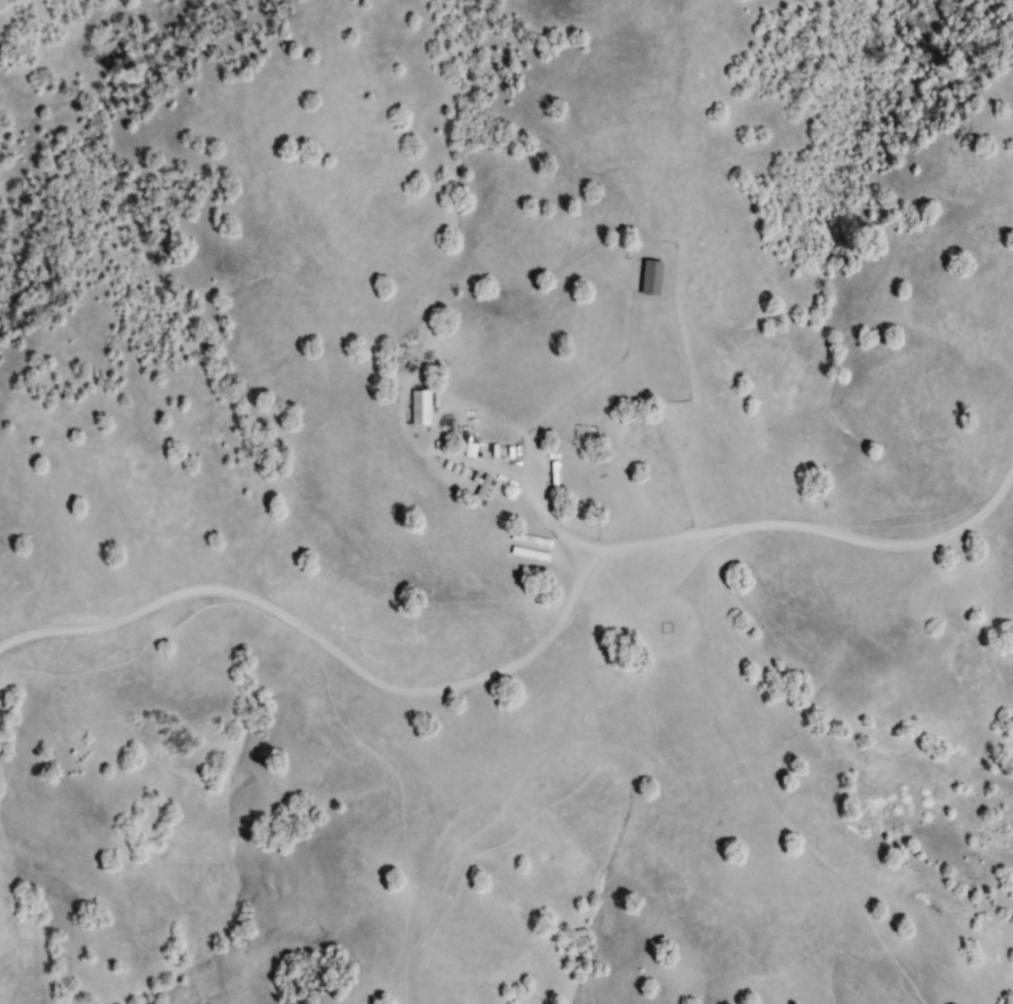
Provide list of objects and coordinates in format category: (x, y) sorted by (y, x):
building: (653, 276)
building: (421, 406)

